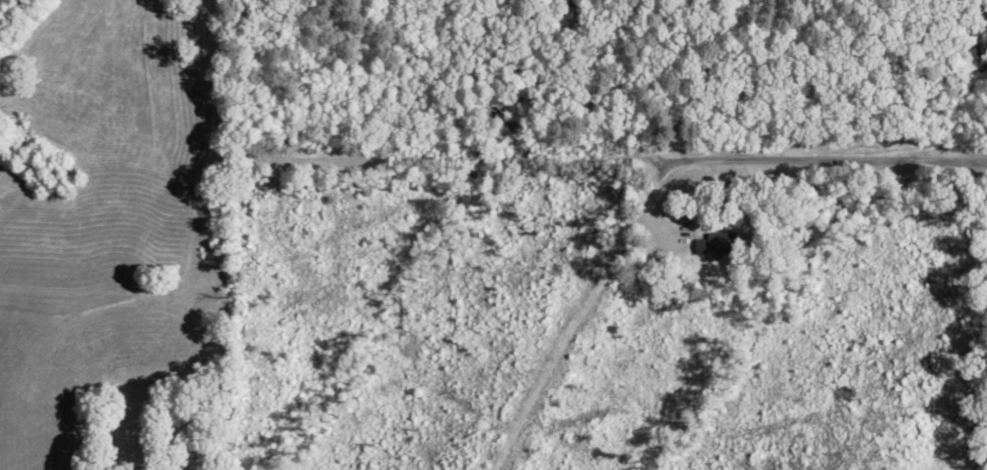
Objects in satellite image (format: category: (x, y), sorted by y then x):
building: (714, 243)
road: (744, 287)

